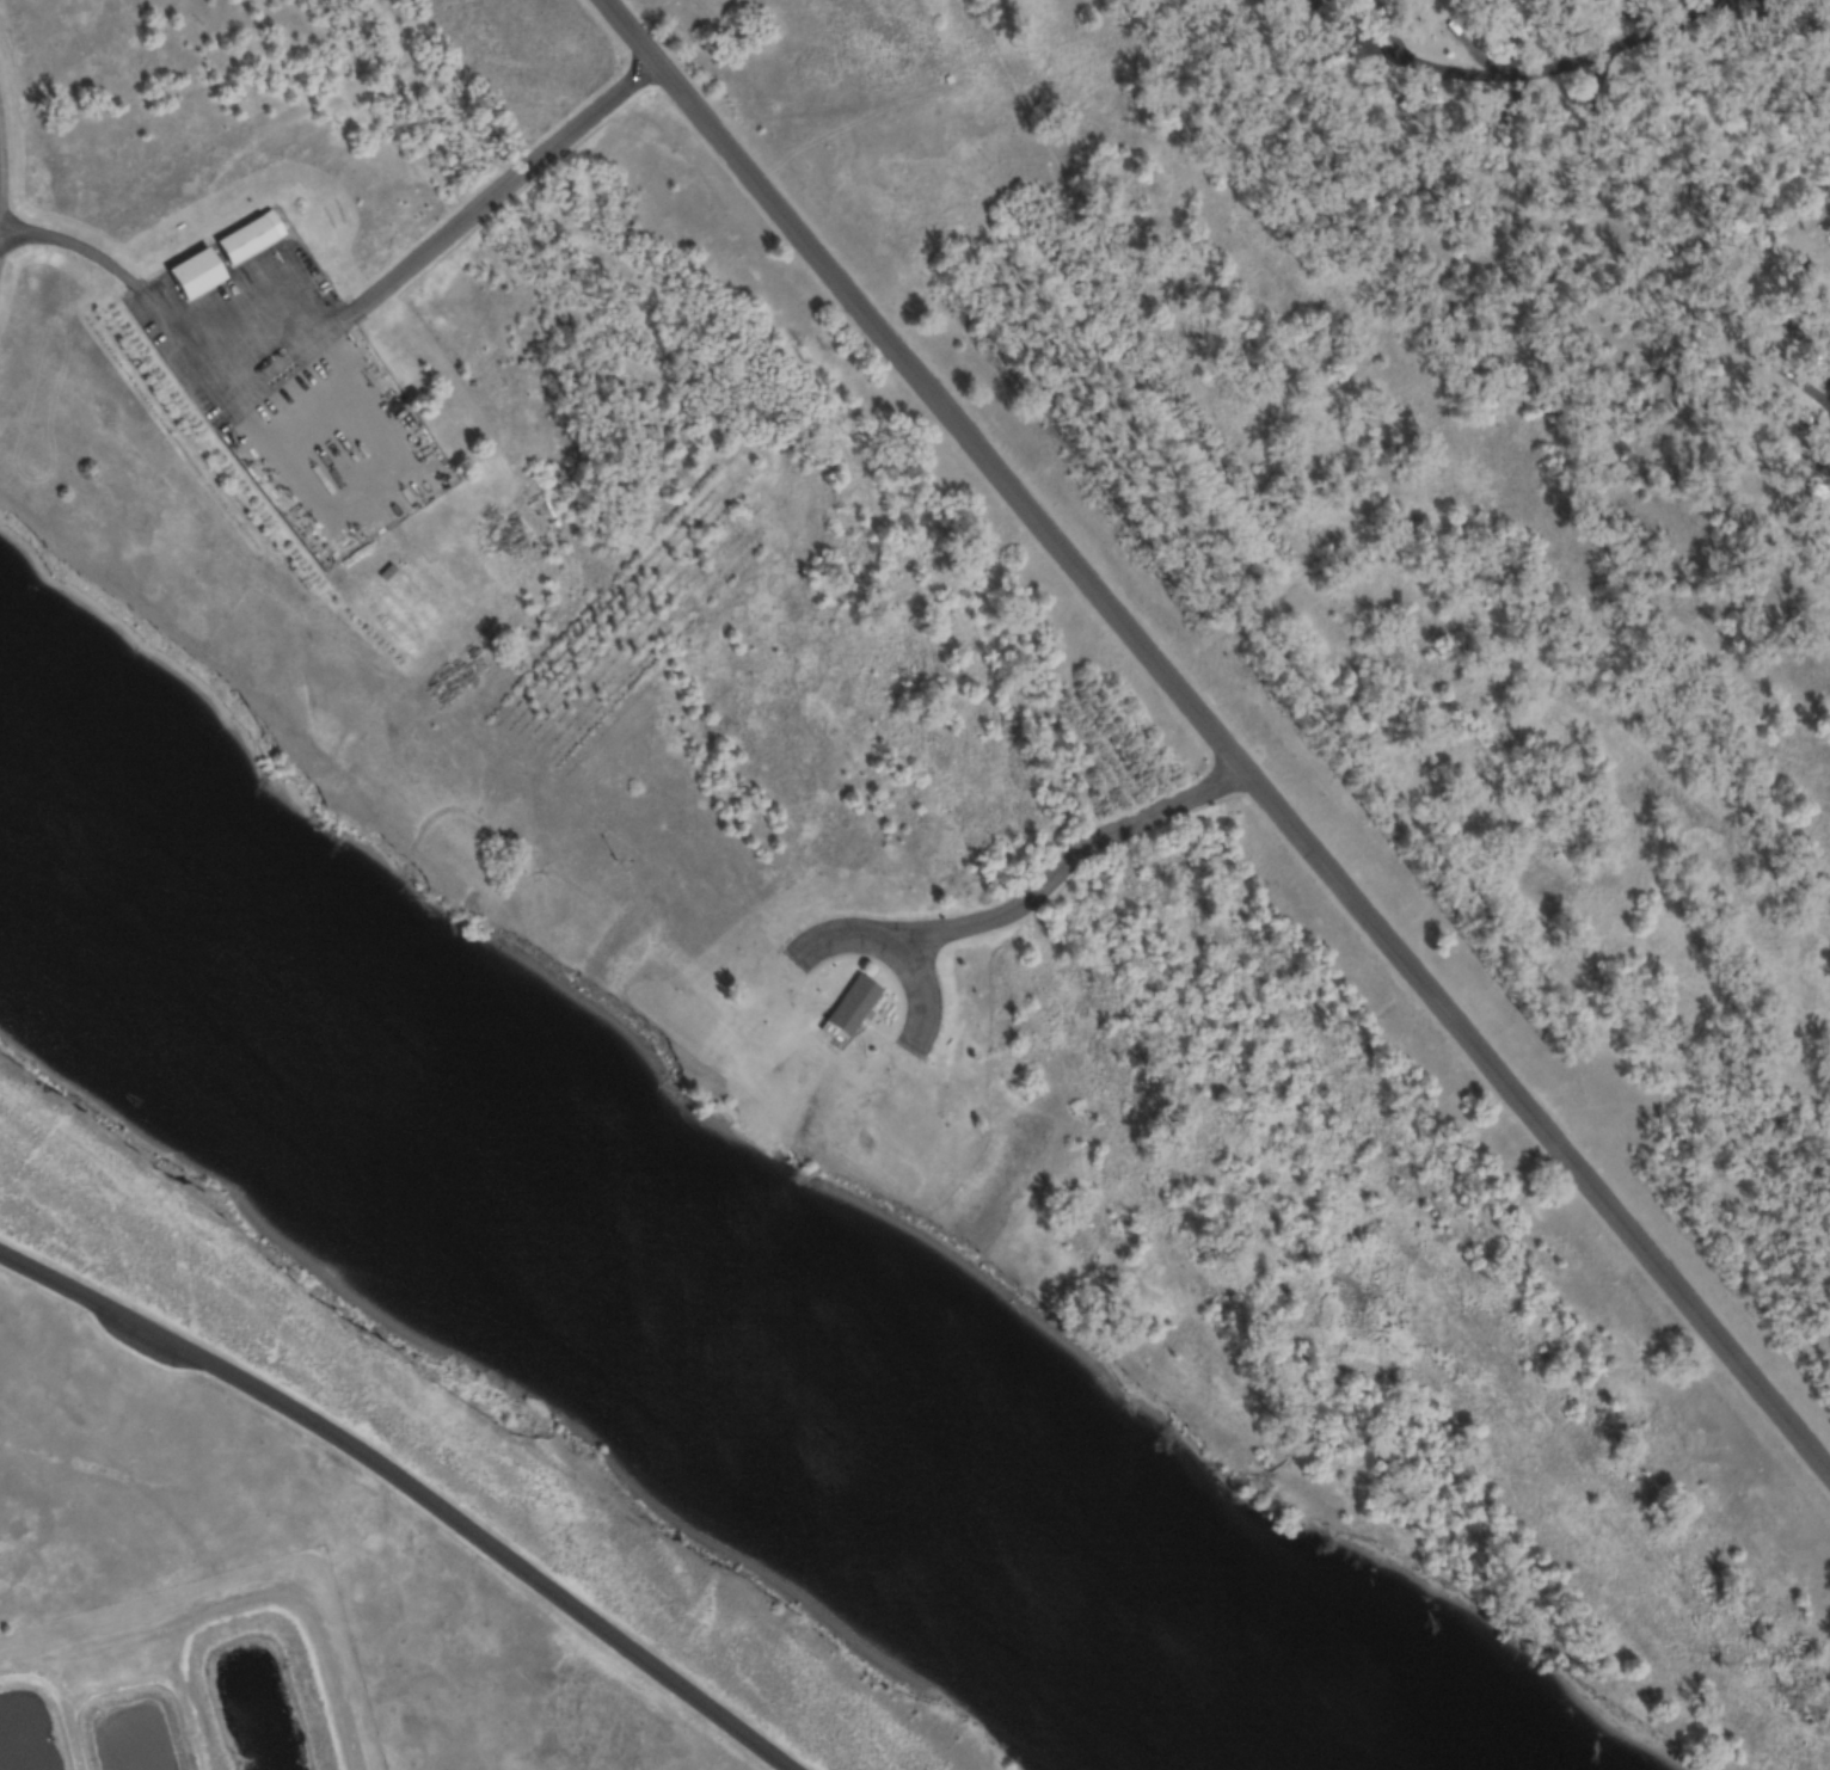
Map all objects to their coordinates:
road: (1789, 62)
road: (1511, 72)
road: (1829, 121)
road: (496, 185)
building: (238, 239)
road: (74, 245)
building: (186, 272)
road: (1828, 369)
road: (1218, 732)
road: (1068, 856)
road: (893, 952)
parking lot: (917, 994)
building: (845, 1006)
road: (411, 1482)

